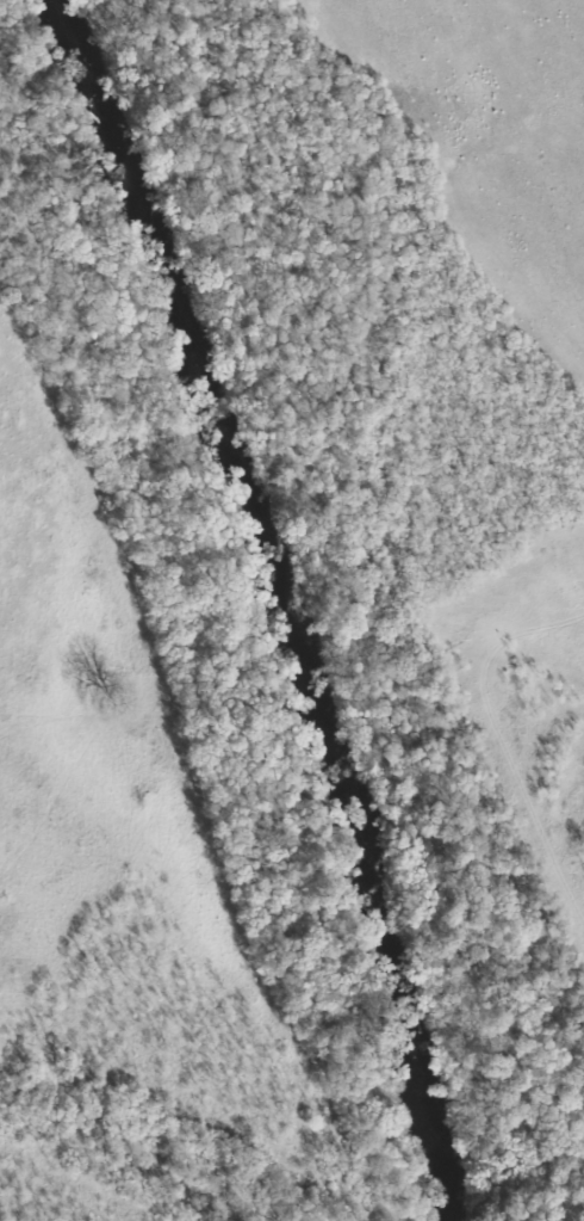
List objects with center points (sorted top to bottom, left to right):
river: (282, 603)

